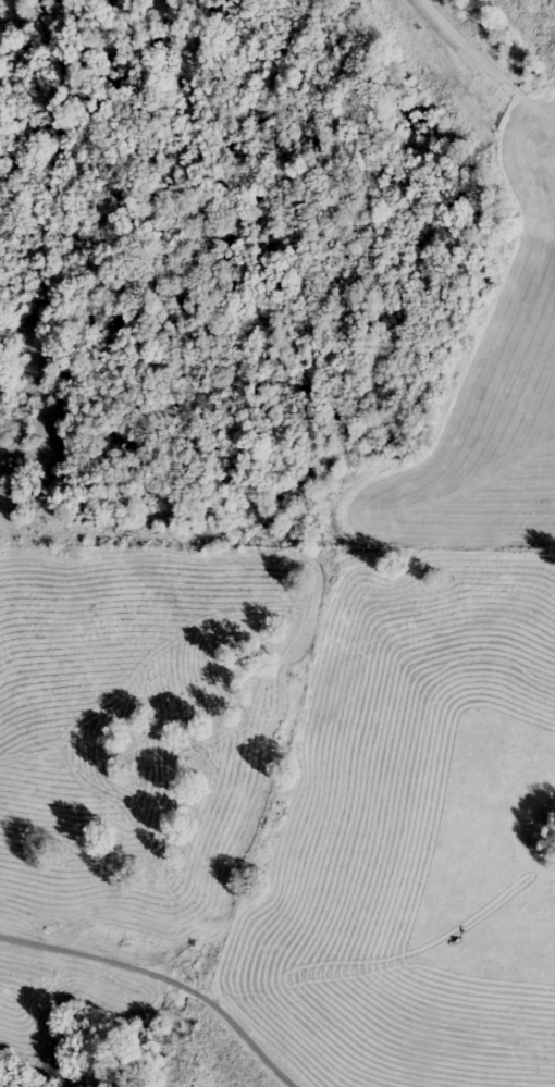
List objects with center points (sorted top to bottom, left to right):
road: (165, 977)

